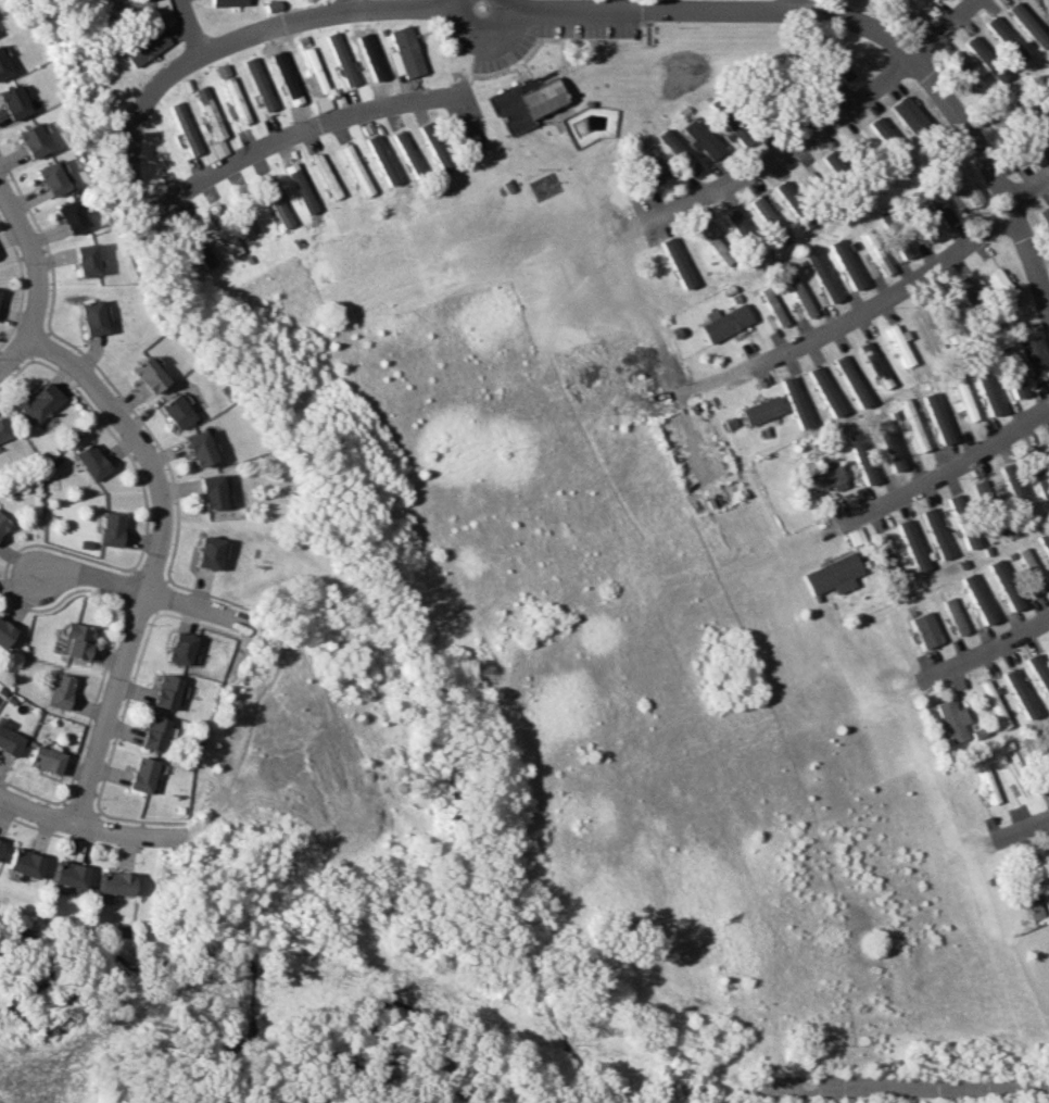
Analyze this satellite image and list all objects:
building: (227, 2)
road: (351, 2)
road: (621, 3)
road: (794, 4)
building: (124, 8)
road: (718, 9)
road: (193, 24)
building: (1028, 24)
road: (483, 33)
road: (237, 35)
building: (1007, 39)
building: (146, 46)
building: (405, 52)
building: (985, 58)
building: (341, 59)
road: (477, 64)
building: (2, 67)
building: (962, 71)
building: (313, 75)
building: (287, 77)
building: (258, 84)
building: (1045, 90)
building: (544, 98)
building: (233, 101)
building: (12, 102)
building: (510, 109)
building: (208, 112)
building: (907, 113)
road: (827, 122)
road: (305, 123)
building: (735, 125)
building: (185, 128)
building: (880, 129)
building: (467, 136)
building: (703, 139)
building: (30, 140)
building: (855, 146)
building: (439, 149)
building: (678, 151)
building: (407, 153)
building: (380, 159)
building: (833, 160)
building: (652, 165)
building: (355, 170)
road: (997, 171)
building: (325, 175)
building: (50, 178)
building: (963, 179)
building: (298, 186)
building: (785, 192)
building: (274, 201)
building: (940, 206)
building: (1045, 214)
building: (767, 215)
building: (69, 216)
building: (737, 225)
building: (927, 231)
building: (229, 239)
building: (713, 240)
building: (901, 245)
building: (875, 252)
road: (37, 254)
building: (85, 259)
building: (675, 263)
building: (846, 263)
building: (822, 277)
road: (911, 280)
building: (999, 286)
building: (965, 289)
building: (800, 294)
building: (773, 306)
building: (949, 315)
building: (91, 317)
building: (724, 322)
building: (927, 330)
road: (655, 331)
building: (899, 344)
road: (16, 353)
building: (1033, 354)
building: (875, 364)
building: (147, 374)
building: (1014, 383)
building: (986, 388)
building: (825, 390)
building: (963, 398)
building: (41, 402)
building: (796, 402)
building: (762, 410)
building: (175, 411)
building: (937, 417)
building: (912, 423)
building: (4, 429)
building: (1048, 443)
building: (890, 444)
building: (197, 448)
building: (90, 461)
building: (864, 461)
road: (952, 466)
building: (824, 477)
building: (1040, 478)
building: (208, 491)
building: (983, 493)
building: (1018, 493)
building: (958, 501)
building: (3, 524)
building: (110, 528)
building: (937, 532)
building: (1045, 539)
building: (913, 544)
building: (206, 552)
road: (159, 559)
building: (1032, 568)
building: (834, 574)
building: (1006, 584)
road: (148, 593)
building: (978, 598)
building: (956, 615)
building: (926, 629)
building: (4, 632)
road: (997, 639)
building: (77, 640)
building: (179, 648)
building: (60, 690)
building: (166, 691)
building: (1020, 692)
building: (994, 703)
building: (951, 719)
building: (153, 732)
building: (9, 739)
building: (46, 759)
building: (1046, 770)
building: (142, 774)
road: (1025, 823)
road: (97, 830)
building: (0, 842)
building: (23, 862)
building: (67, 875)
building: (114, 882)
building: (1032, 890)
road: (901, 1083)

